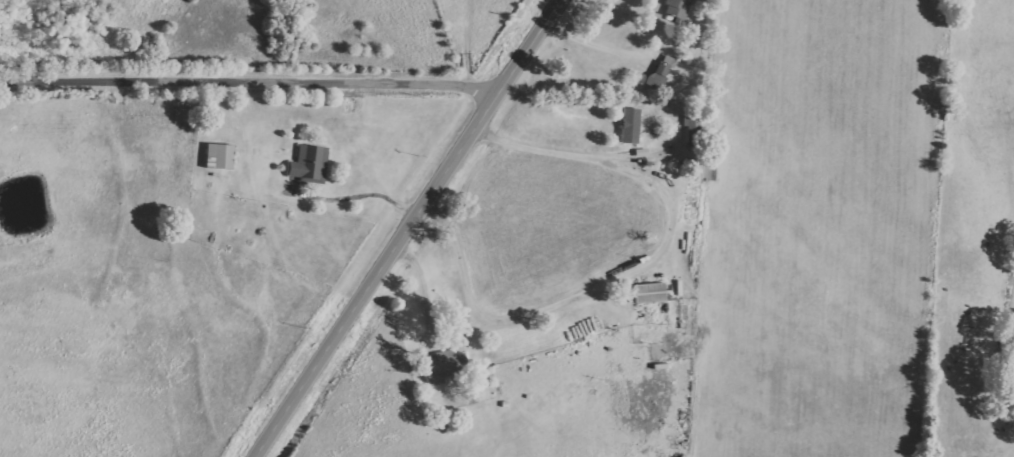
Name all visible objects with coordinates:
building: (677, 9)
road: (595, 45)
building: (659, 71)
road: (253, 80)
building: (628, 126)
building: (218, 155)
building: (307, 163)
road: (374, 189)
road: (407, 228)
road: (637, 267)
building: (647, 292)
building: (442, 365)

